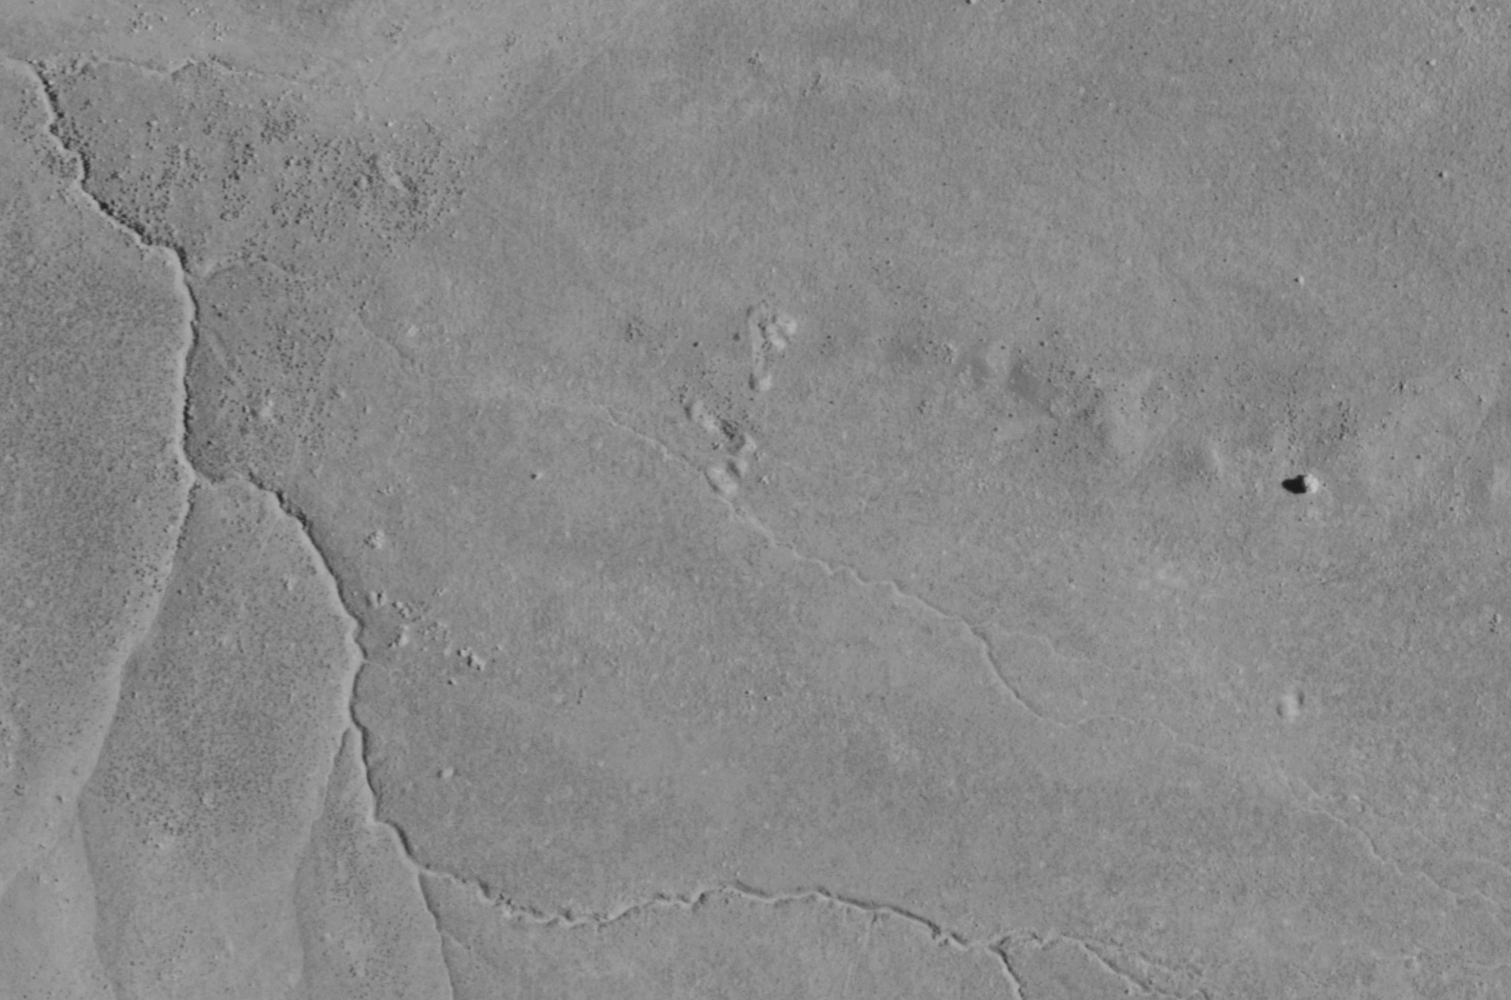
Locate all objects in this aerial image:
crop: (434, 517)

